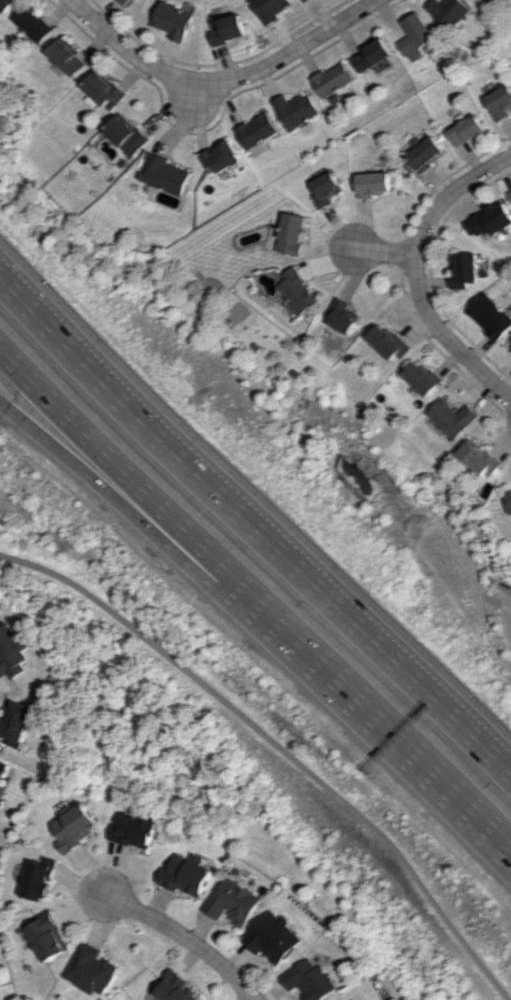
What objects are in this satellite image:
building: (304, 0)
building: (127, 1)
building: (7, 5)
building: (273, 9)
building: (450, 11)
building: (176, 20)
building: (34, 23)
building: (230, 29)
building: (416, 36)
building: (373, 53)
building: (68, 58)
road: (221, 78)
building: (332, 79)
building: (102, 90)
road: (194, 92)
building: (502, 103)
building: (296, 109)
building: (256, 130)
building: (469, 130)
building: (125, 135)
building: (426, 152)
building: (220, 157)
building: (163, 174)
building: (375, 183)
building: (325, 189)
building: (493, 220)
building: (293, 233)
road: (385, 250)
building: (468, 270)
road: (419, 273)
building: (300, 290)
building: (344, 315)
building: (494, 316)
building: (390, 342)
building: (424, 378)
building: (453, 417)
building: (480, 459)
road: (132, 472)
building: (508, 501)
road: (130, 502)
road: (255, 525)
building: (13, 652)
building: (17, 723)
road: (388, 724)
road: (275, 750)
building: (2, 768)
building: (76, 826)
building: (136, 831)
building: (186, 874)
building: (39, 879)
building: (233, 903)
building: (49, 937)
road: (187, 938)
building: (275, 938)
building: (92, 969)
building: (312, 980)
building: (177, 988)

